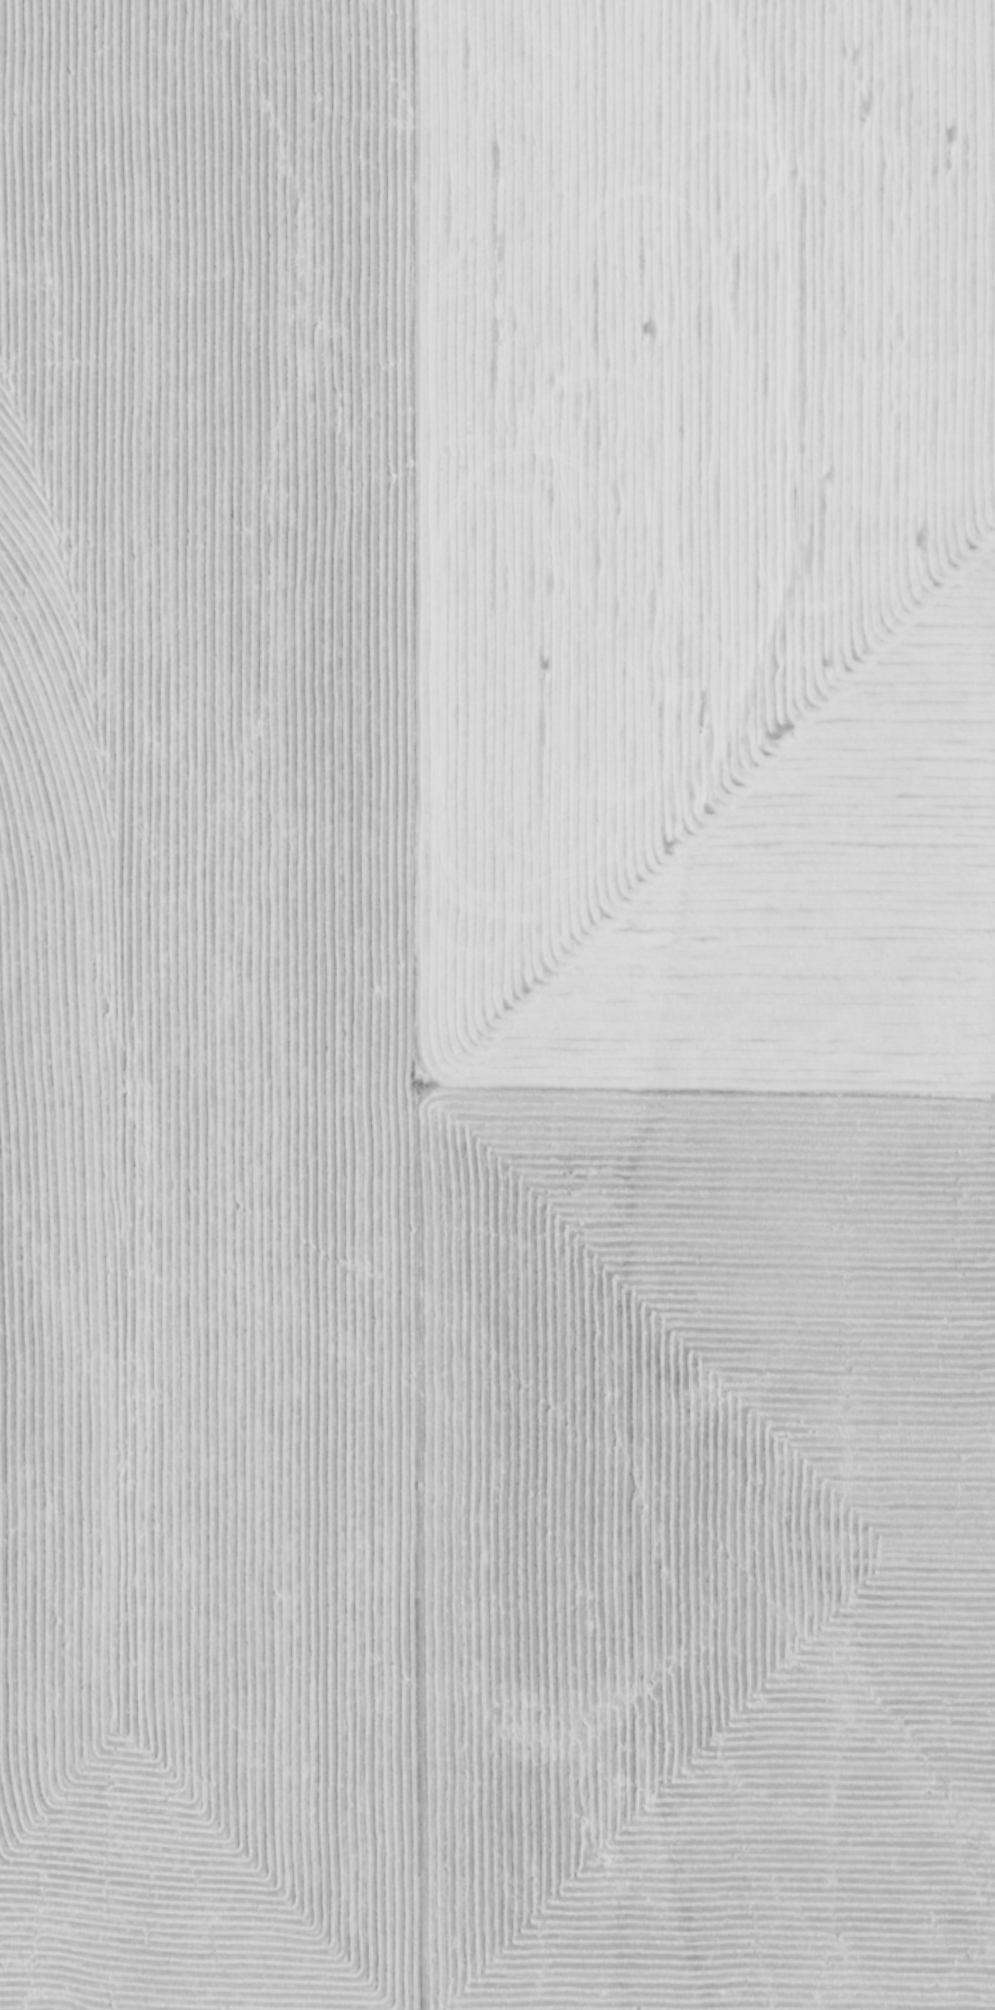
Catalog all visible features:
crop: (497, 1005)

